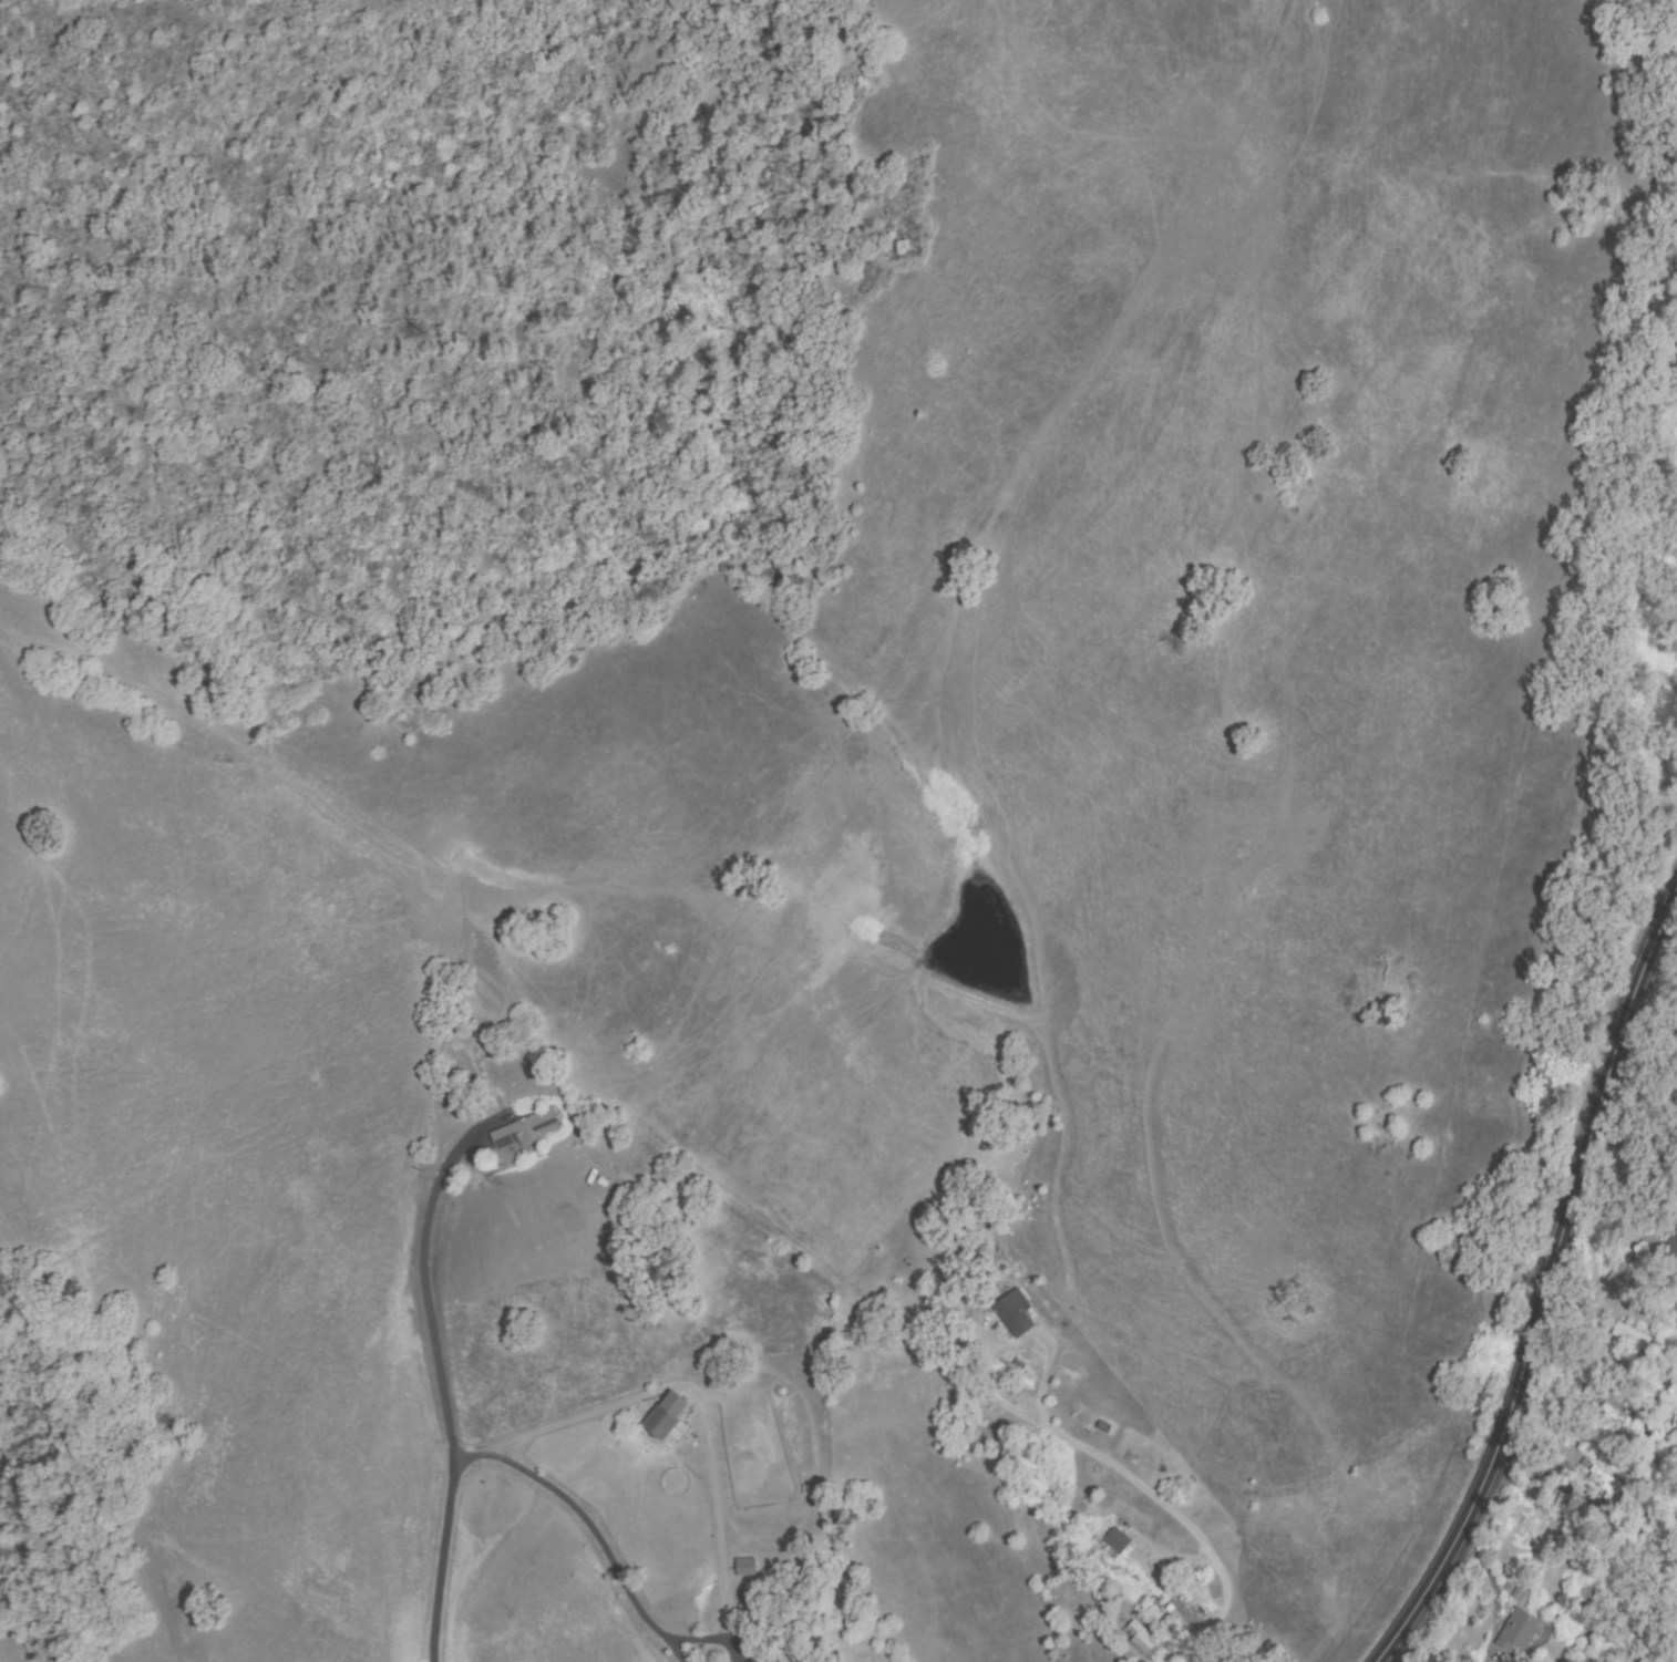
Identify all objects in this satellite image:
building: (526, 1131)
road: (433, 1185)
building: (1671, 1242)
road: (1547, 1286)
building: (1015, 1315)
building: (1629, 1336)
building: (1666, 1384)
building: (666, 1416)
building: (1676, 1422)
building: (1673, 1439)
building: (1604, 1480)
building: (1112, 1546)
building: (744, 1566)
building: (1515, 1592)
building: (1522, 1632)
building: (1141, 1639)
building: (758, 1661)

